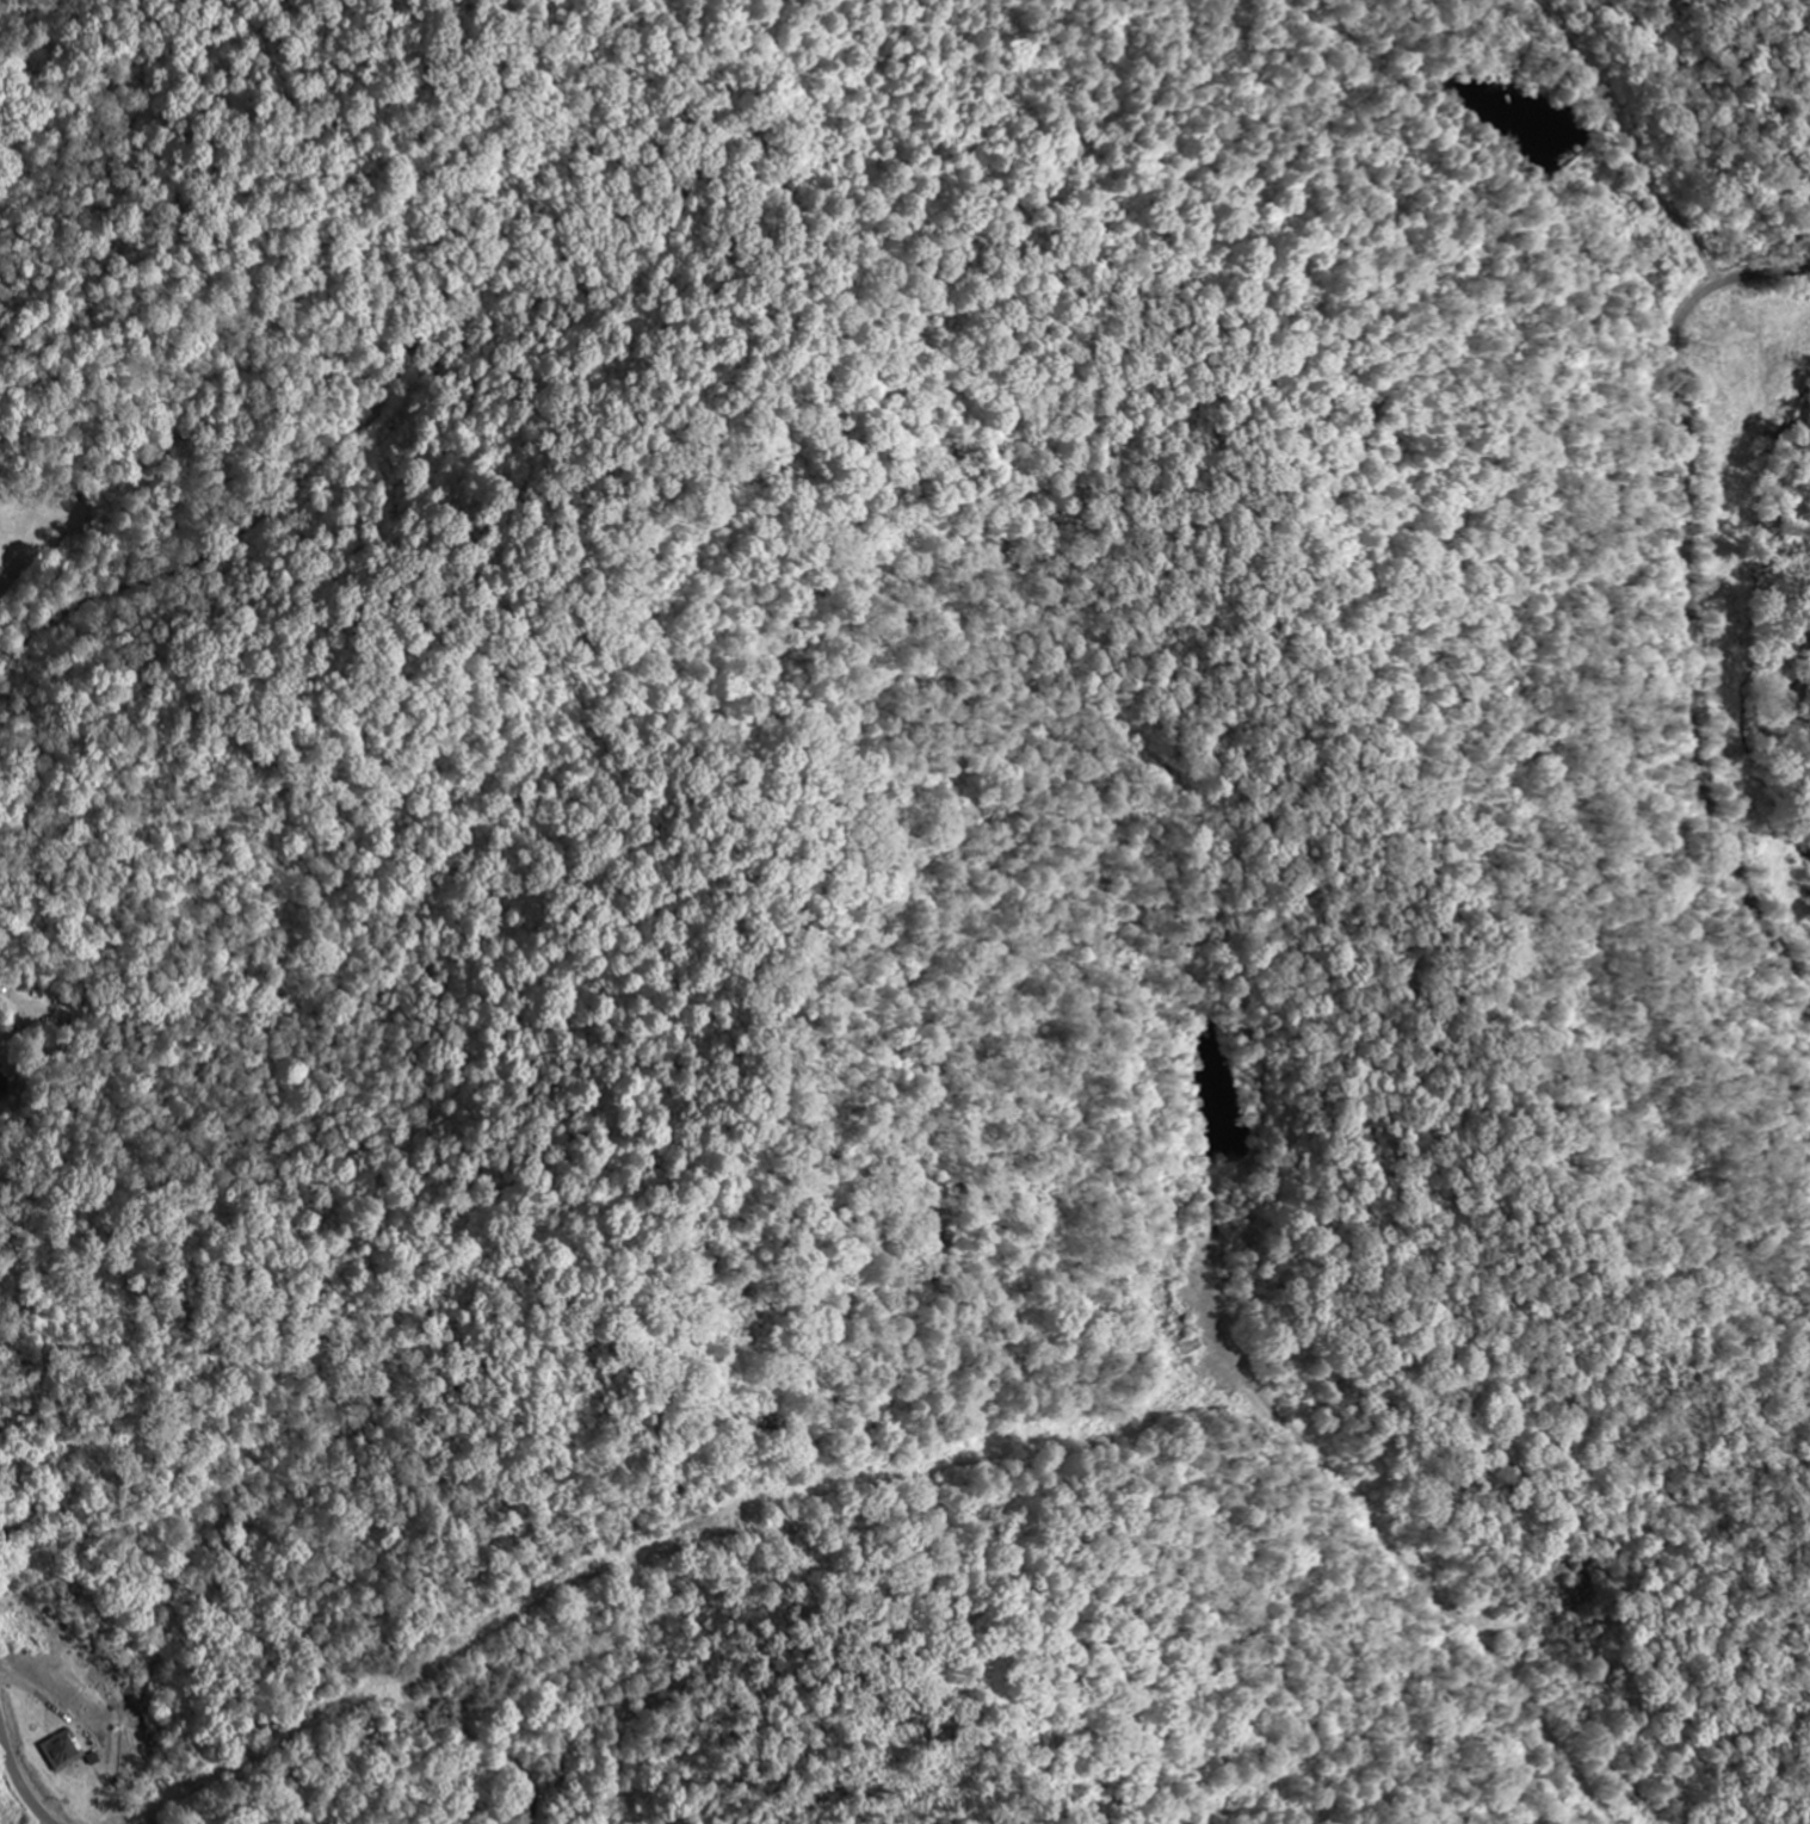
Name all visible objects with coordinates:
road: (1693, 600)
road: (7, 1745)
building: (63, 1749)
road: (29, 1797)

